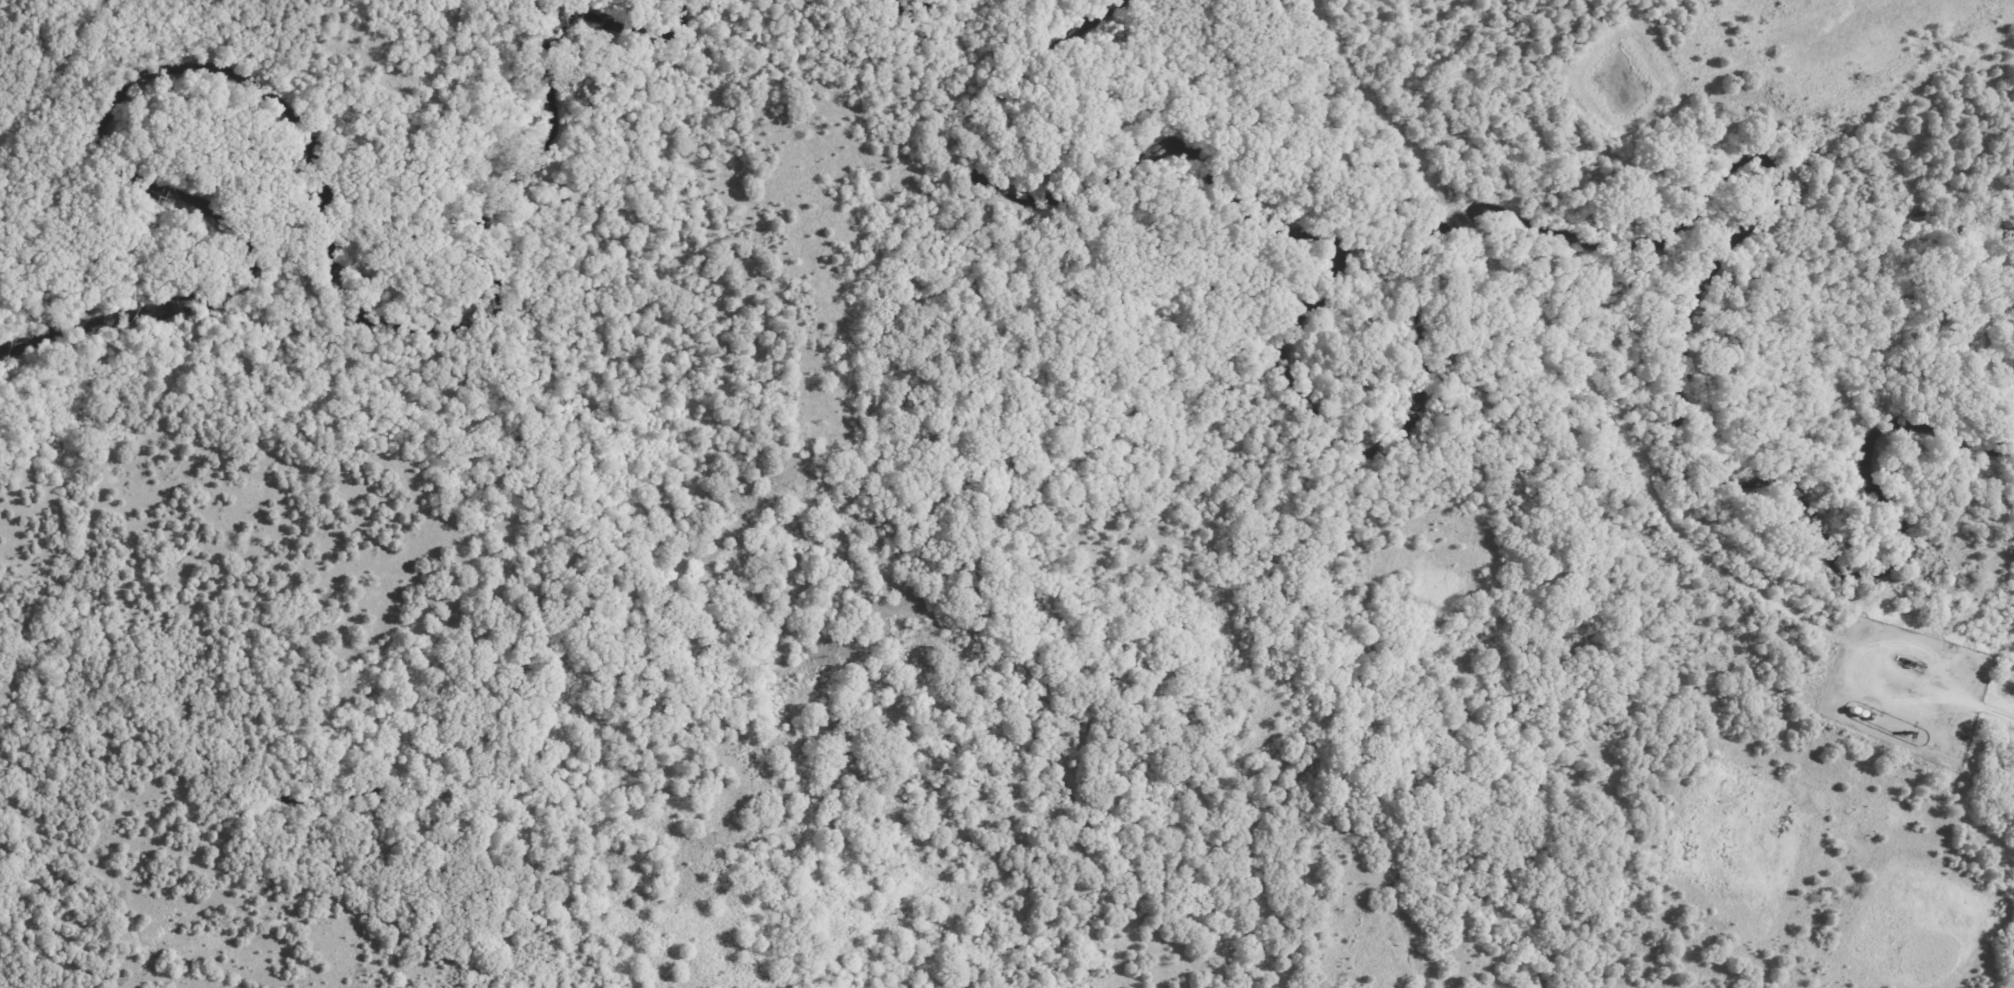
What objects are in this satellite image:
petroleum well: (1917, 666)

